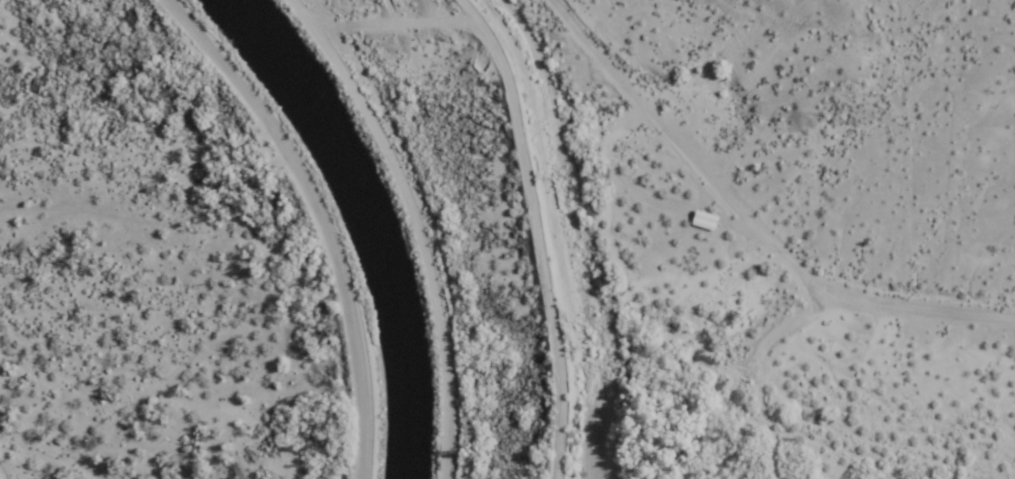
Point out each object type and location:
road: (316, 218)
river: (367, 220)
road: (751, 224)

